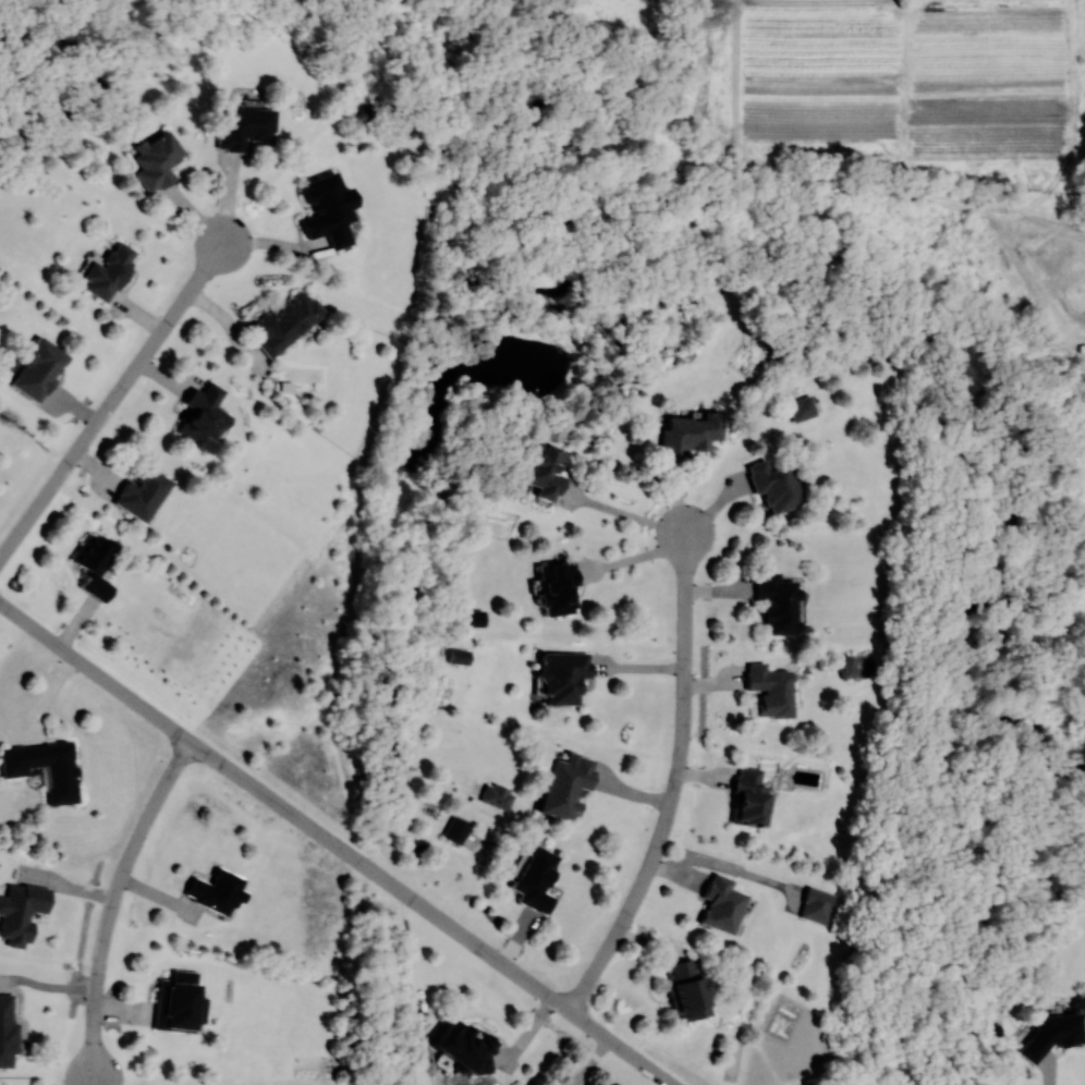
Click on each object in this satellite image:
building: (70, 111)
building: (247, 129)
building: (159, 161)
building: (330, 210)
building: (110, 272)
building: (289, 321)
building: (39, 369)
road: (110, 399)
building: (802, 410)
building: (205, 419)
building: (692, 434)
building: (544, 470)
building: (776, 487)
building: (145, 493)
road: (624, 516)
building: (95, 565)
building: (559, 589)
building: (780, 604)
building: (460, 657)
building: (850, 668)
building: (565, 678)
building: (772, 691)
building: (61, 772)
building: (568, 784)
road: (669, 785)
building: (498, 795)
building: (751, 796)
building: (458, 830)
road: (333, 846)
building: (537, 879)
building: (218, 892)
road: (109, 903)
building: (723, 904)
building: (822, 905)
building: (22, 913)
building: (690, 991)
building: (181, 1003)
building: (8, 1031)
building: (1056, 1033)
building: (468, 1047)
road: (595, 1061)
road: (577, 1082)
road: (581, 1082)

